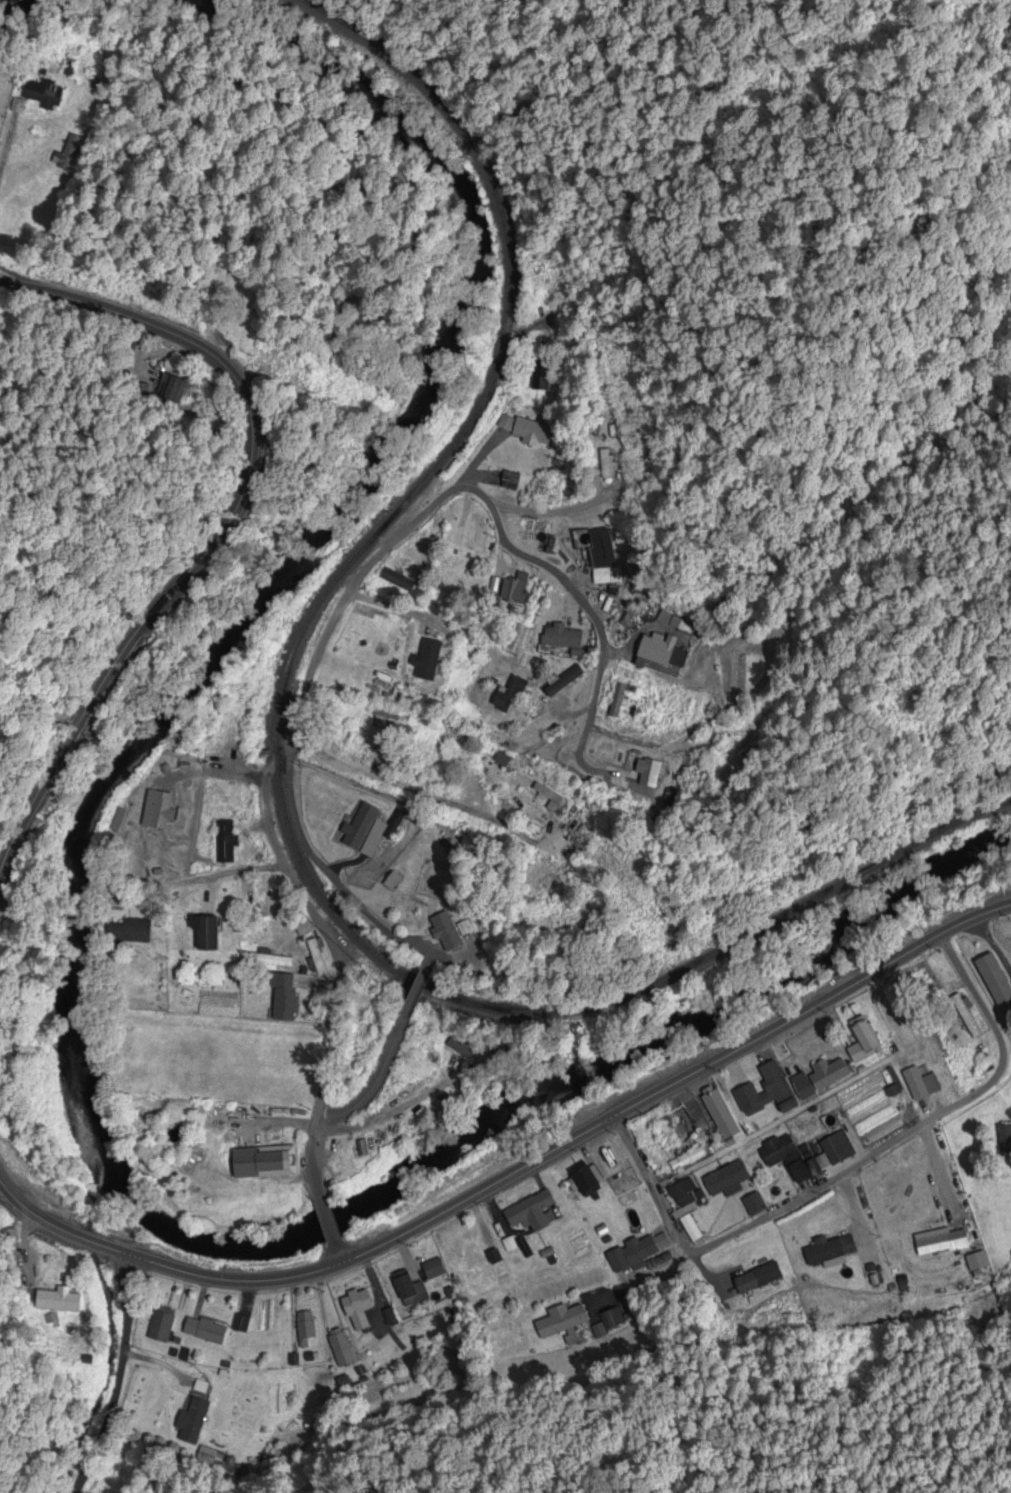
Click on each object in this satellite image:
river: (1, 0)
building: (42, 95)
building: (66, 155)
building: (543, 376)
building: (173, 390)
building: (527, 431)
building: (604, 465)
building: (489, 480)
road: (222, 528)
building: (600, 549)
road: (380, 564)
building: (599, 578)
building: (397, 581)
building: (513, 591)
building: (561, 637)
building: (659, 652)
building: (426, 660)
building: (575, 684)
building: (355, 691)
building: (508, 695)
building: (617, 701)
building: (392, 715)
building: (357, 745)
railway: (277, 760)
building: (648, 773)
building: (158, 810)
building: (368, 831)
building: (224, 843)
road: (212, 880)
building: (270, 900)
building: (129, 932)
building: (446, 932)
building: (205, 934)
river: (72, 941)
road: (331, 959)
building: (267, 960)
building: (996, 984)
road: (417, 988)
building: (282, 998)
building: (965, 1017)
building: (862, 1043)
building: (463, 1052)
building: (827, 1074)
building: (915, 1084)
building: (776, 1086)
building: (802, 1087)
road: (368, 1091)
building: (748, 1098)
building: (719, 1114)
building: (836, 1149)
building: (784, 1157)
building: (686, 1160)
building: (263, 1163)
building: (610, 1163)
road: (512, 1171)
road: (842, 1173)
road: (311, 1174)
building: (725, 1179)
road: (937, 1179)
building: (584, 1182)
building: (751, 1206)
building: (685, 1209)
building: (529, 1212)
road: (853, 1213)
road: (324, 1220)
building: (9, 1239)
building: (931, 1243)
building: (829, 1250)
road: (333, 1256)
building: (631, 1259)
building: (977, 1266)
building: (432, 1270)
building: (481, 1274)
building: (757, 1279)
building: (409, 1292)
building: (56, 1301)
building: (356, 1309)
building: (562, 1322)
building: (160, 1325)
building: (304, 1329)
building: (203, 1331)
building: (341, 1349)
road: (116, 1377)
building: (191, 1421)

